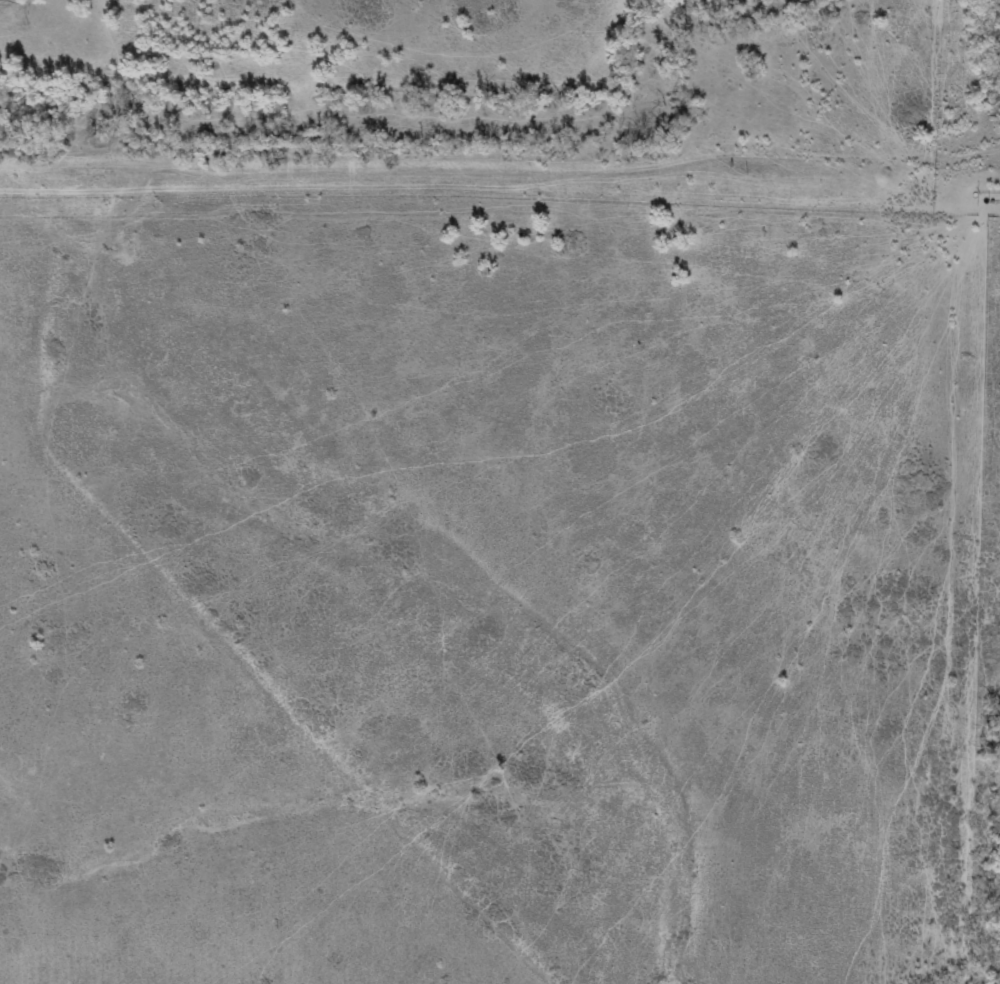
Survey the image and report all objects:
road: (506, 159)

